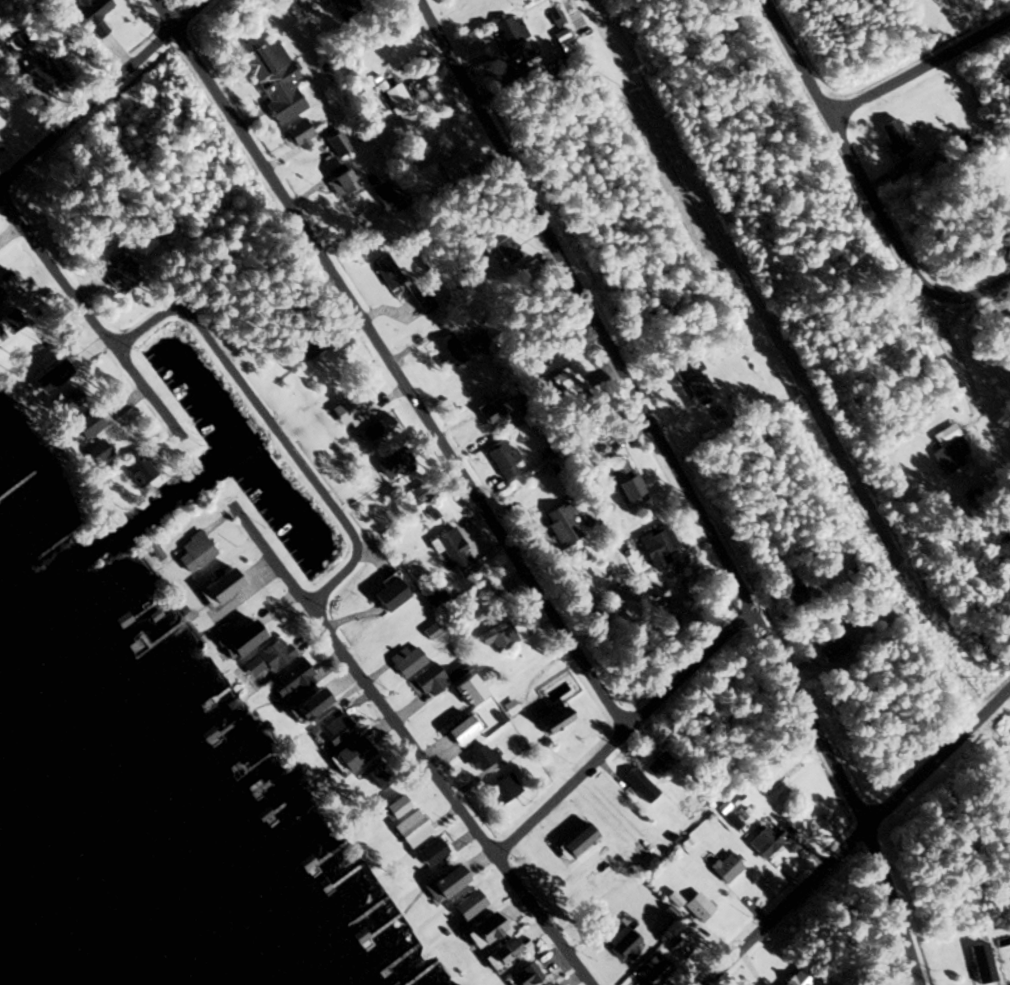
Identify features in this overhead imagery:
building: (346, 8)
building: (90, 16)
building: (508, 34)
road: (916, 61)
building: (35, 70)
building: (272, 79)
power tower: (626, 92)
road: (105, 95)
building: (398, 102)
building: (298, 135)
building: (891, 135)
building: (334, 140)
building: (340, 180)
road: (0, 189)
building: (380, 193)
road: (891, 227)
building: (505, 249)
building: (385, 270)
building: (118, 271)
power tower: (732, 288)
road: (978, 297)
building: (420, 299)
road: (112, 309)
building: (307, 344)
road: (230, 362)
road: (375, 366)
building: (691, 378)
building: (564, 381)
road: (140, 385)
building: (353, 406)
building: (488, 409)
building: (81, 424)
road: (316, 425)
building: (947, 448)
building: (501, 458)
building: (390, 461)
building: (136, 467)
building: (622, 481)
power tower: (835, 484)
road: (666, 489)
road: (127, 496)
building: (558, 523)
building: (655, 545)
building: (191, 551)
building: (452, 551)
road: (294, 569)
road: (190, 570)
building: (215, 586)
building: (386, 594)
building: (483, 599)
road: (736, 621)
building: (494, 634)
building: (236, 638)
road: (746, 638)
building: (829, 649)
building: (268, 656)
building: (403, 660)
building: (290, 678)
power tower: (954, 679)
building: (448, 682)
building: (304, 704)
building: (551, 721)
building: (333, 729)
building: (457, 729)
road: (606, 732)
building: (347, 752)
building: (479, 756)
building: (657, 764)
building: (638, 785)
building: (501, 788)
building: (391, 805)
road: (462, 807)
building: (409, 828)
building: (575, 839)
building: (764, 839)
road: (871, 850)
building: (427, 851)
building: (723, 866)
building: (442, 882)
building: (464, 903)
building: (695, 906)
building: (479, 929)
building: (620, 943)
building: (678, 948)
building: (498, 952)
building: (991, 965)
building: (652, 969)
building: (518, 974)
building: (795, 978)

